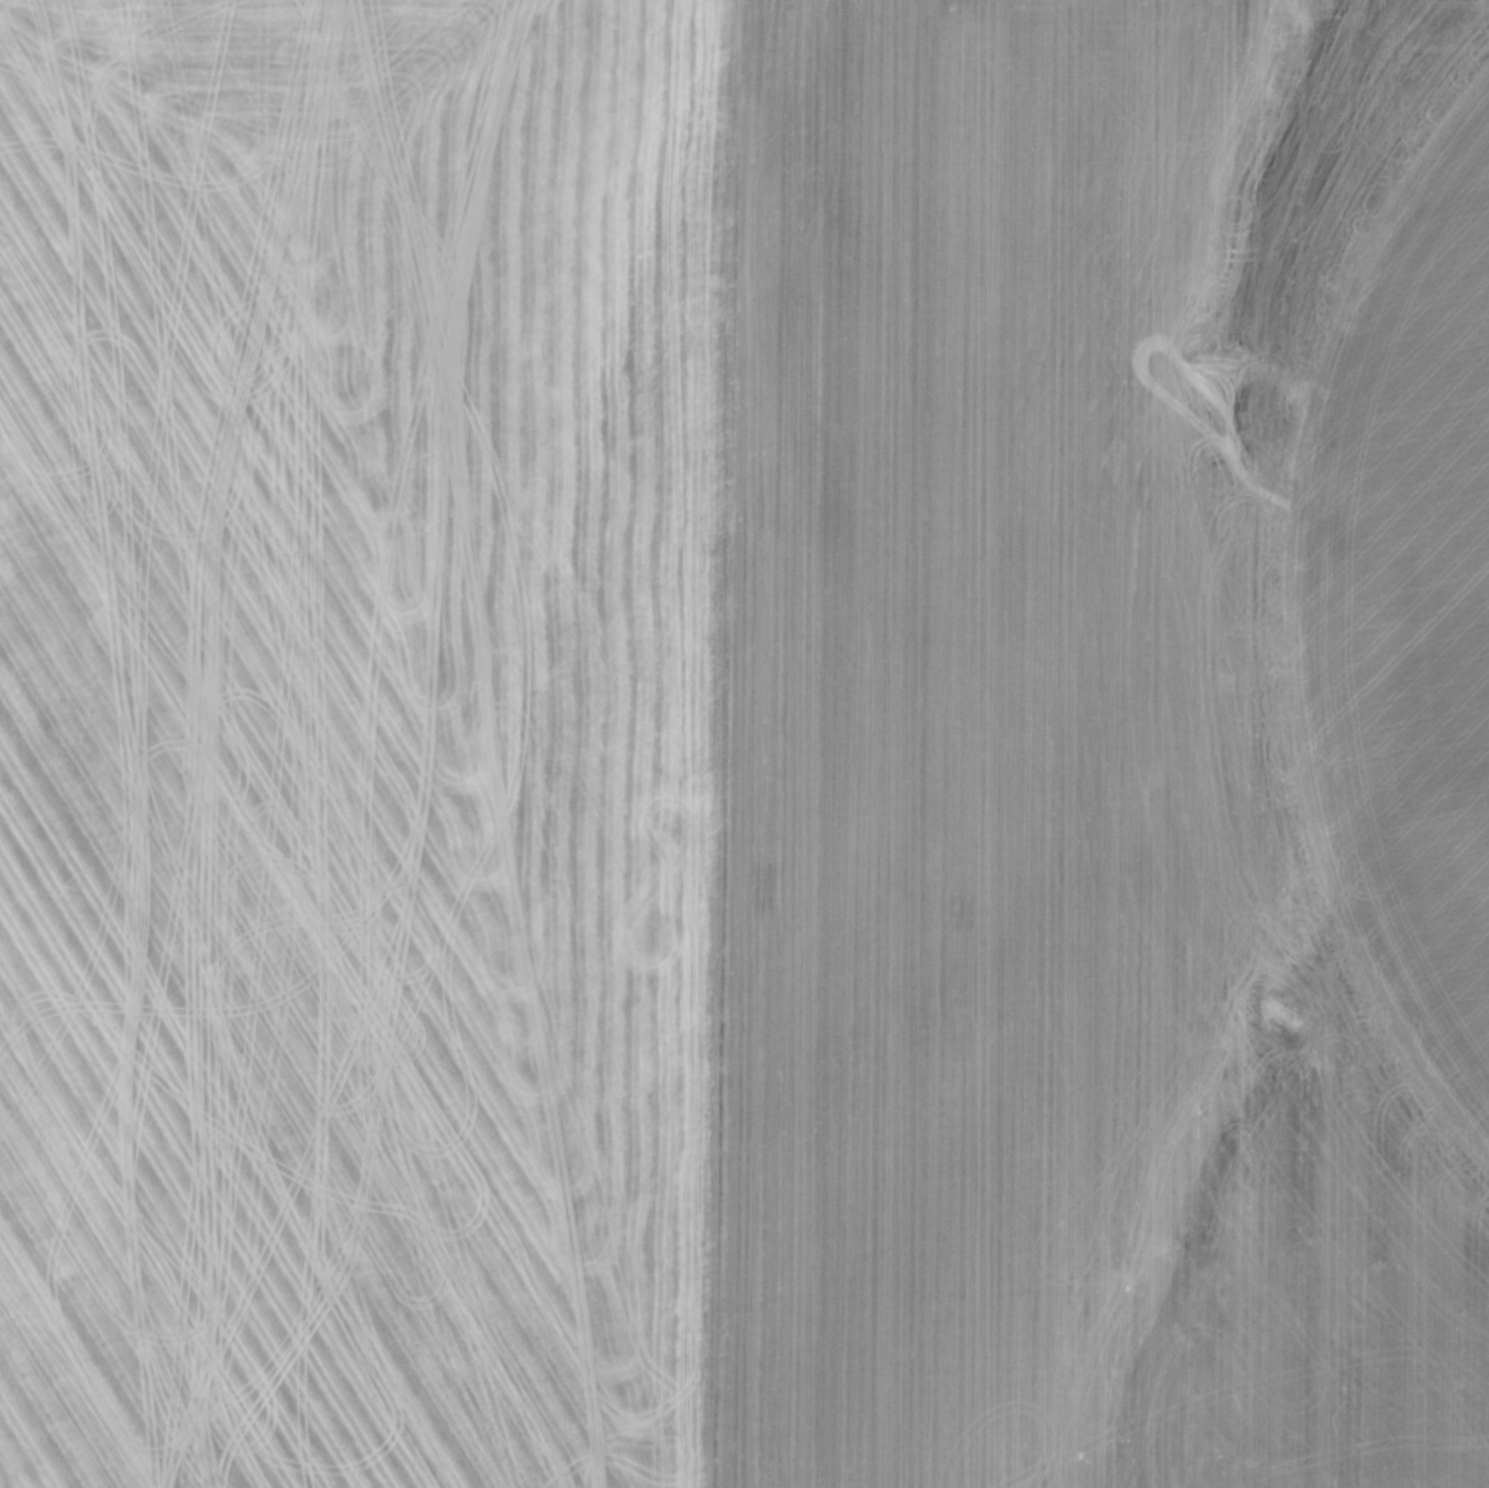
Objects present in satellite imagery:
crop: (1417, 632)

